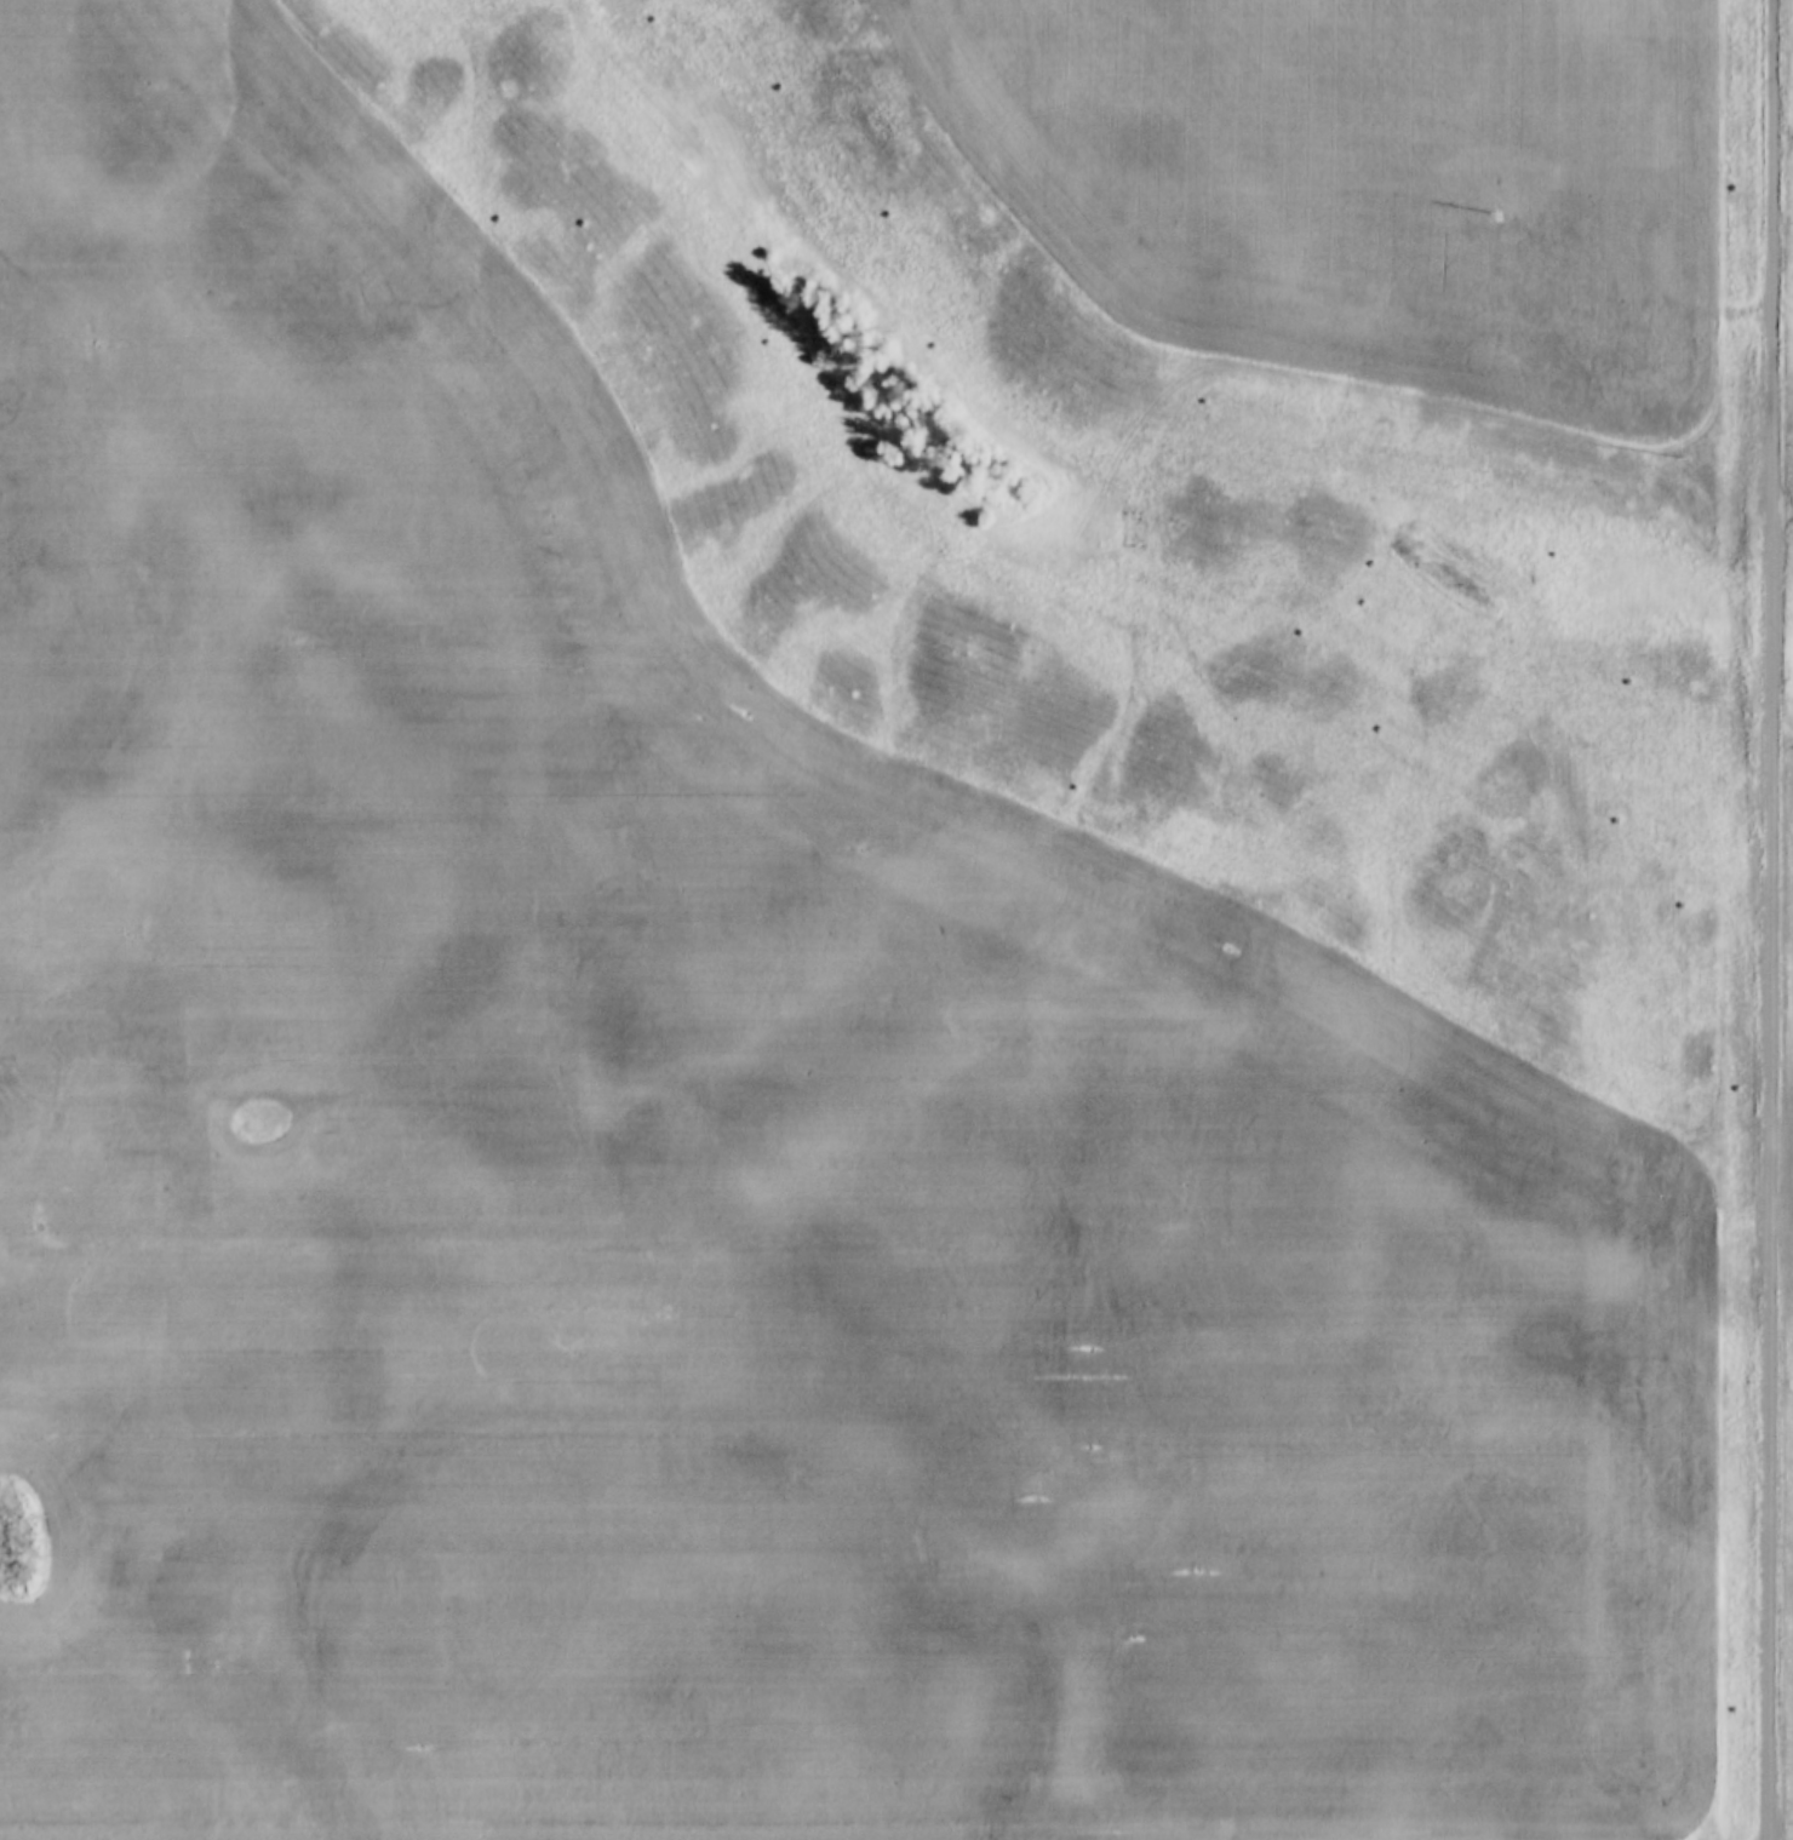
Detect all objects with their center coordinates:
road: (1783, 511)
road: (1774, 919)

